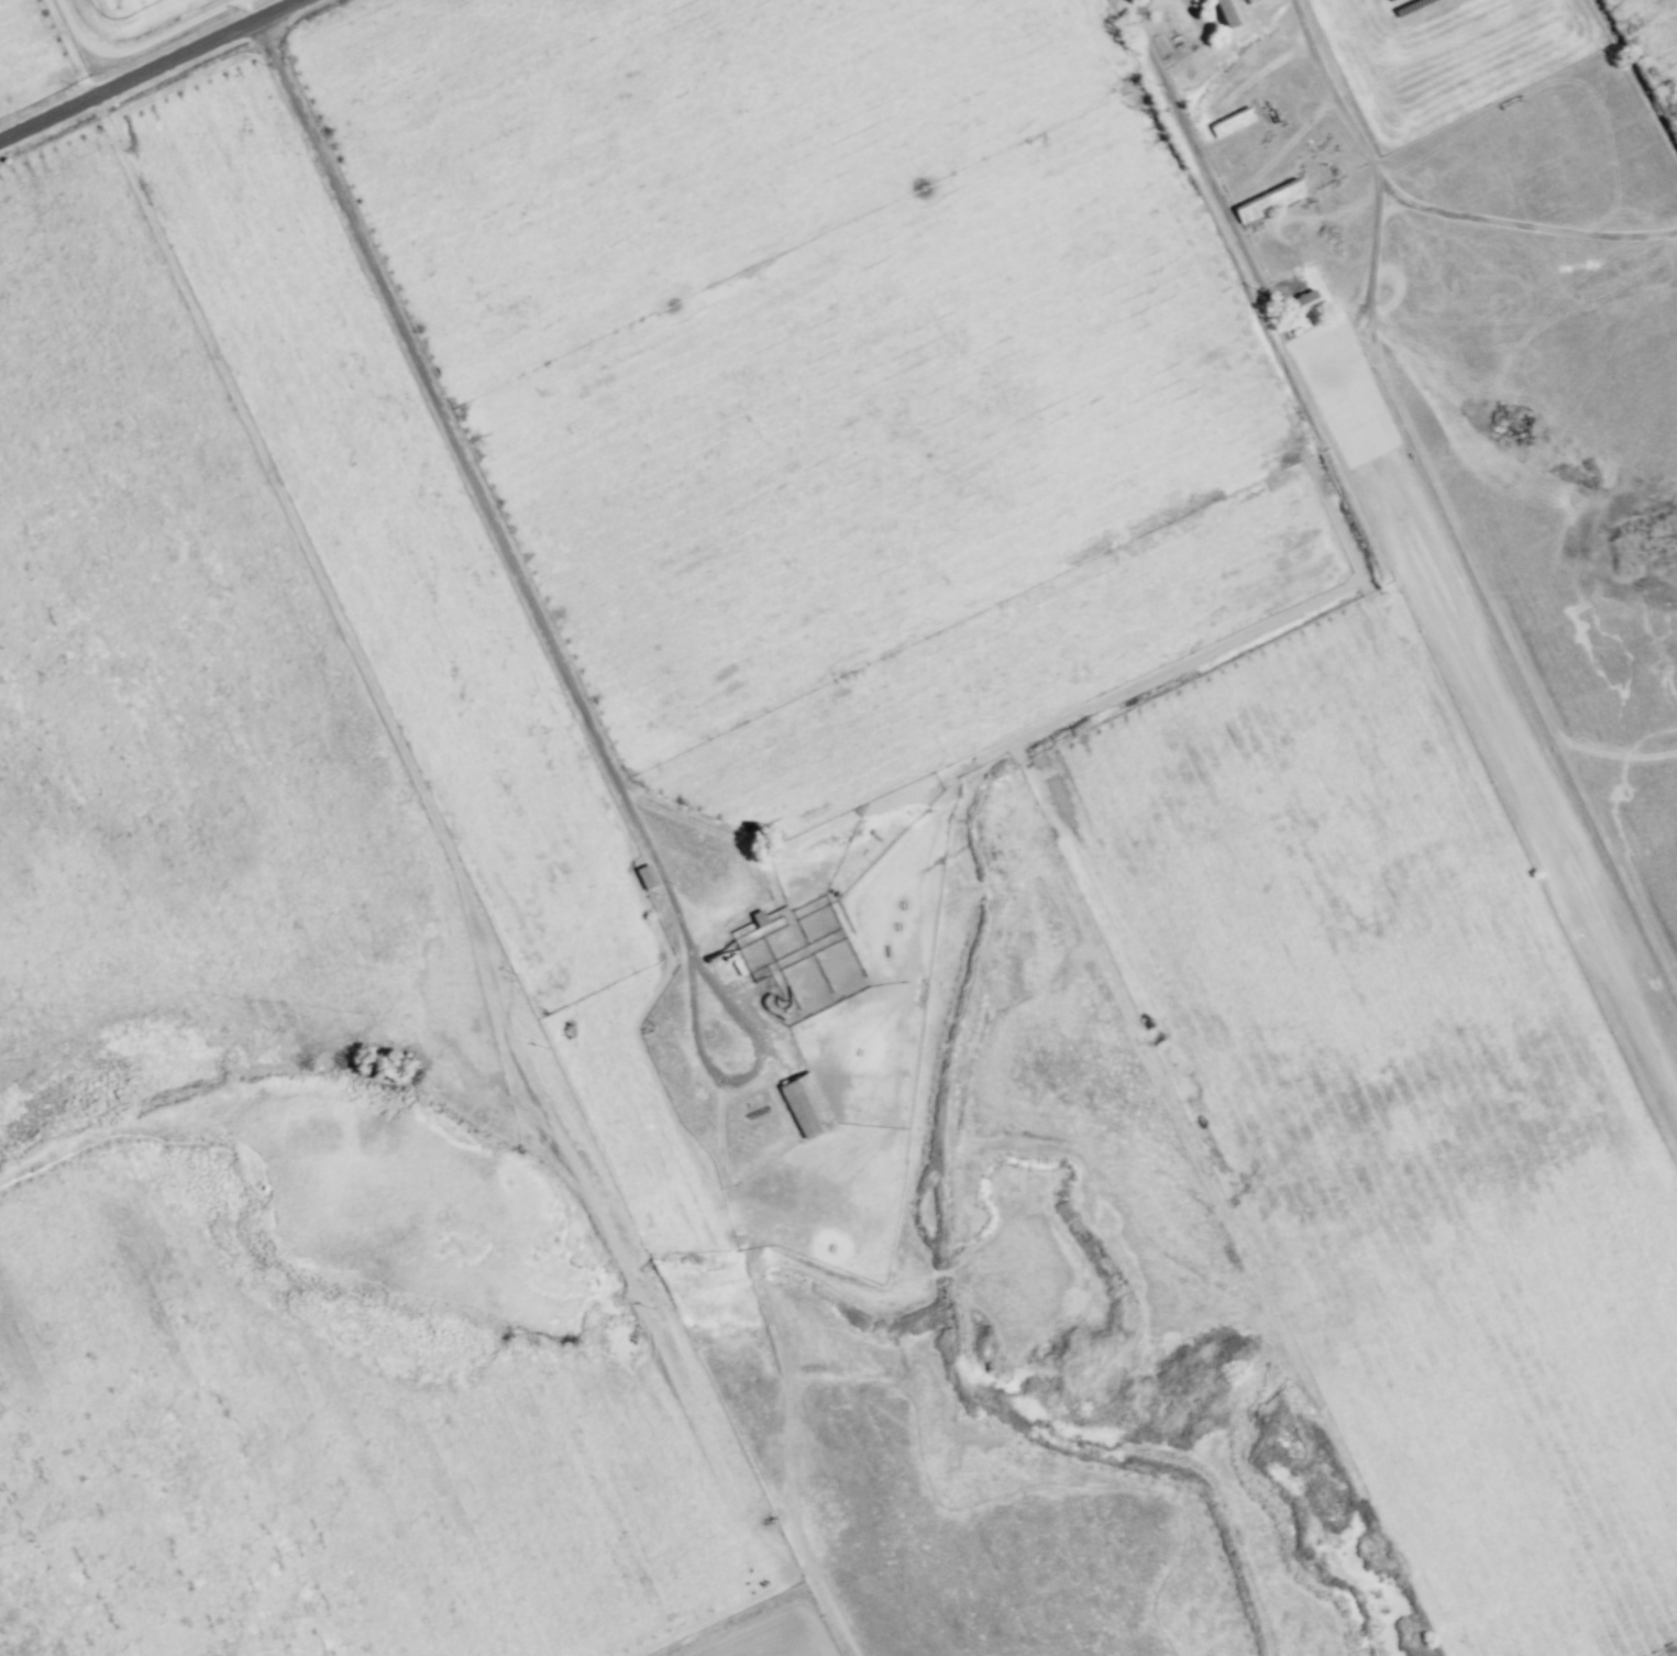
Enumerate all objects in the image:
building: (1224, 12)
road: (151, 69)
road: (1198, 155)
road: (1526, 223)
building: (1302, 302)
road: (1445, 499)
road: (488, 511)
building: (803, 1105)

